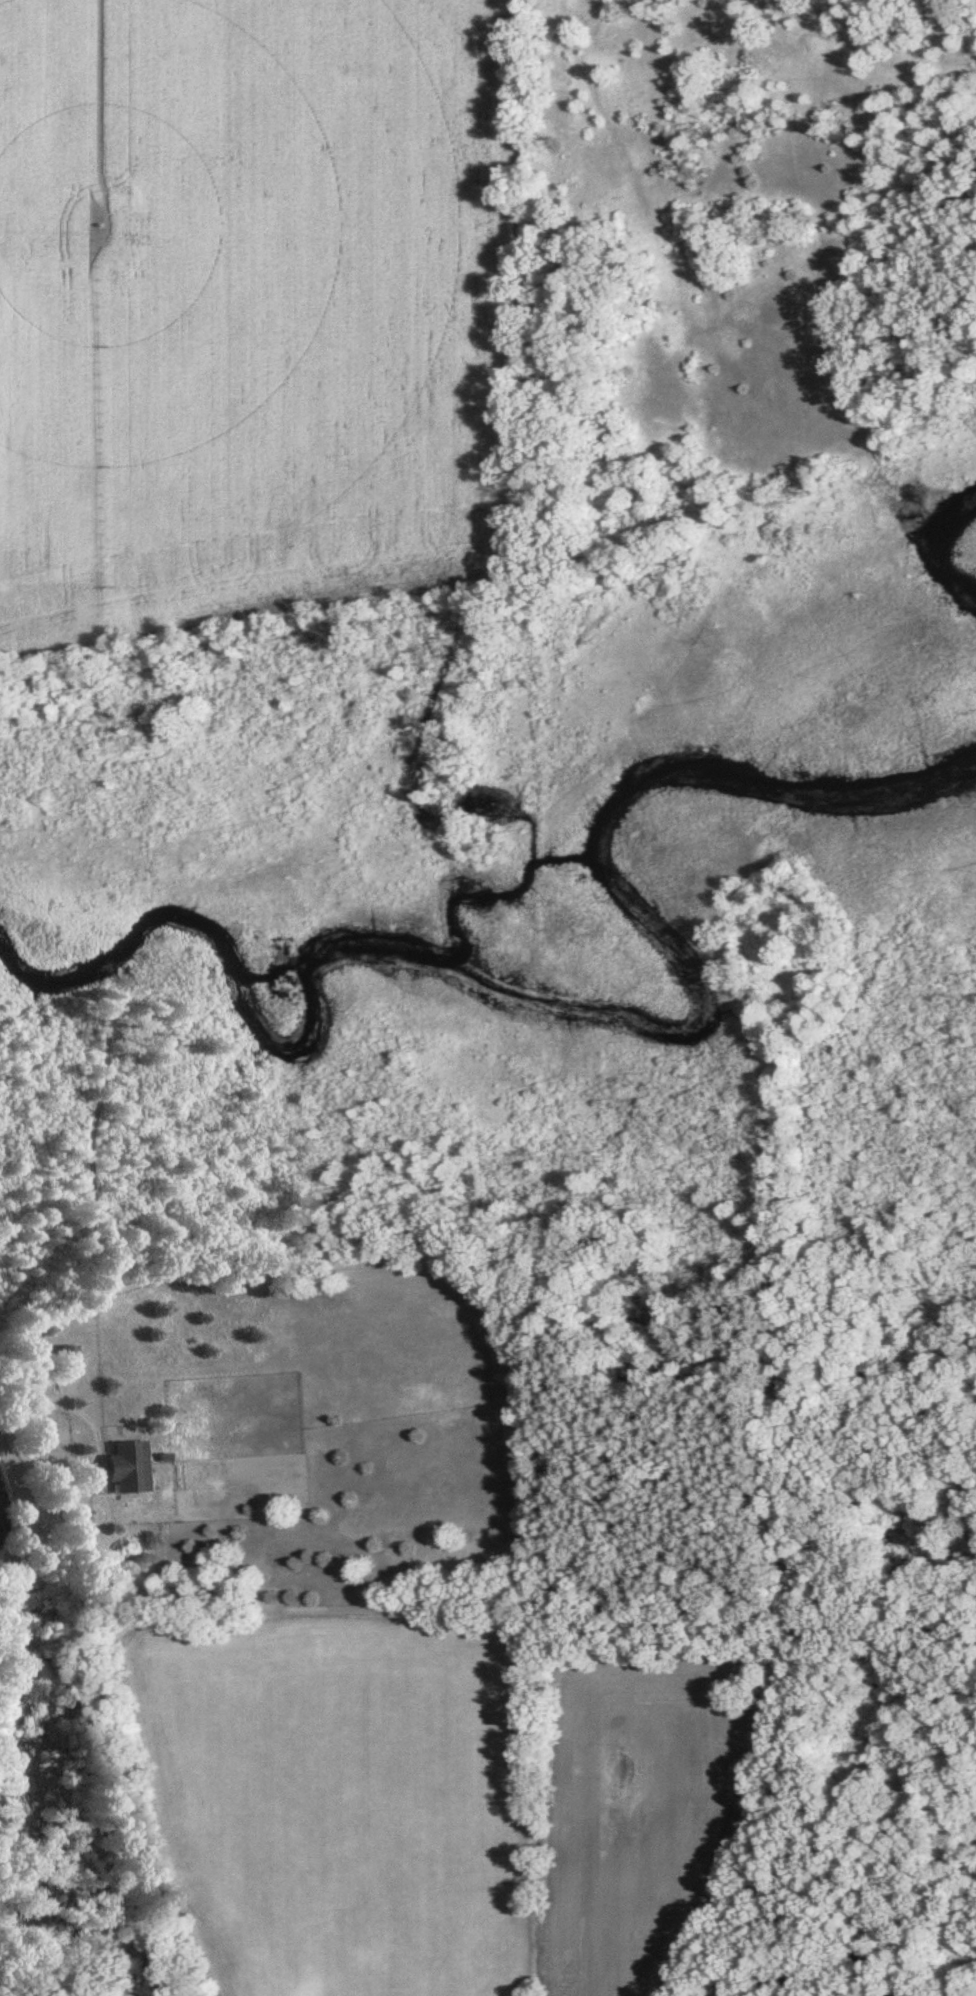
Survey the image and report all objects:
building: (61, 1360)
building: (120, 1467)
road: (779, 1650)
road: (831, 1883)

